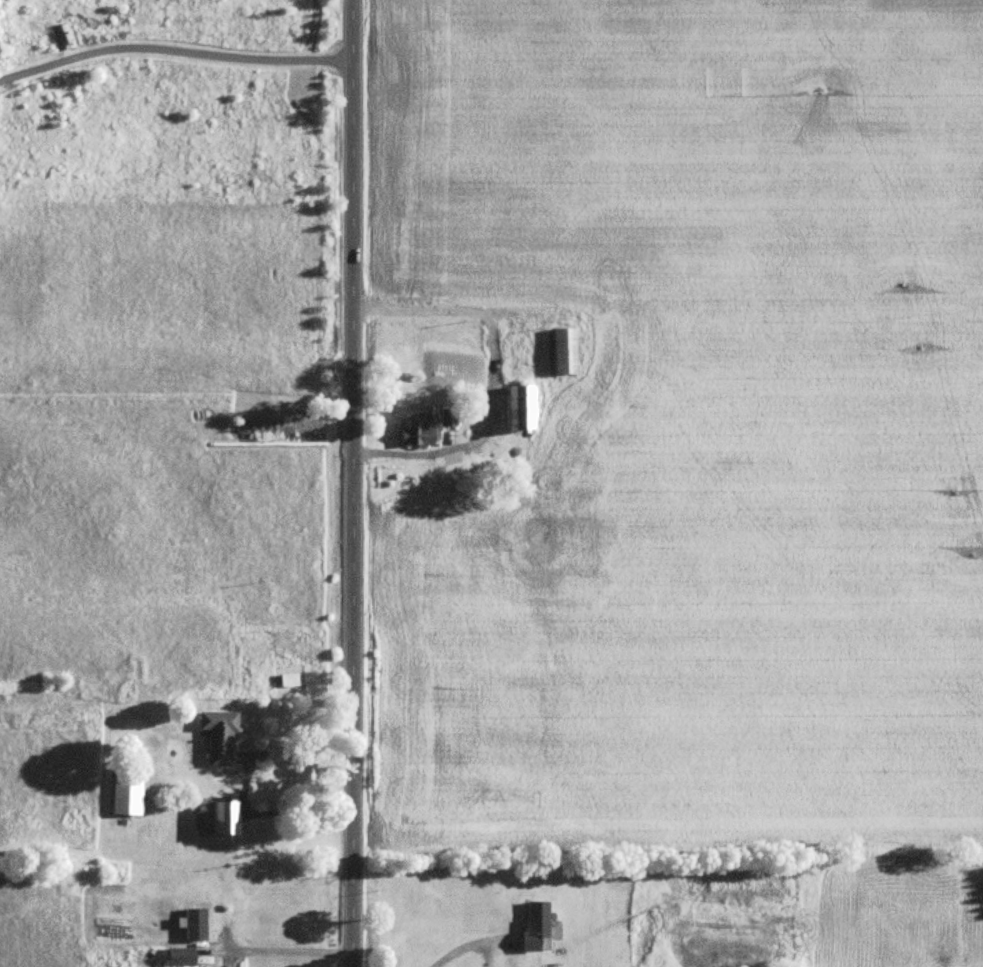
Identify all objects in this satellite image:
road: (173, 51)
building: (561, 351)
road: (493, 380)
building: (517, 407)
building: (446, 418)
crop: (690, 427)
building: (414, 433)
road: (352, 483)
building: (287, 680)
building: (217, 737)
building: (125, 792)
road: (296, 806)
building: (221, 818)
building: (192, 924)
building: (532, 924)
road: (462, 947)
road: (286, 949)
building: (177, 957)

